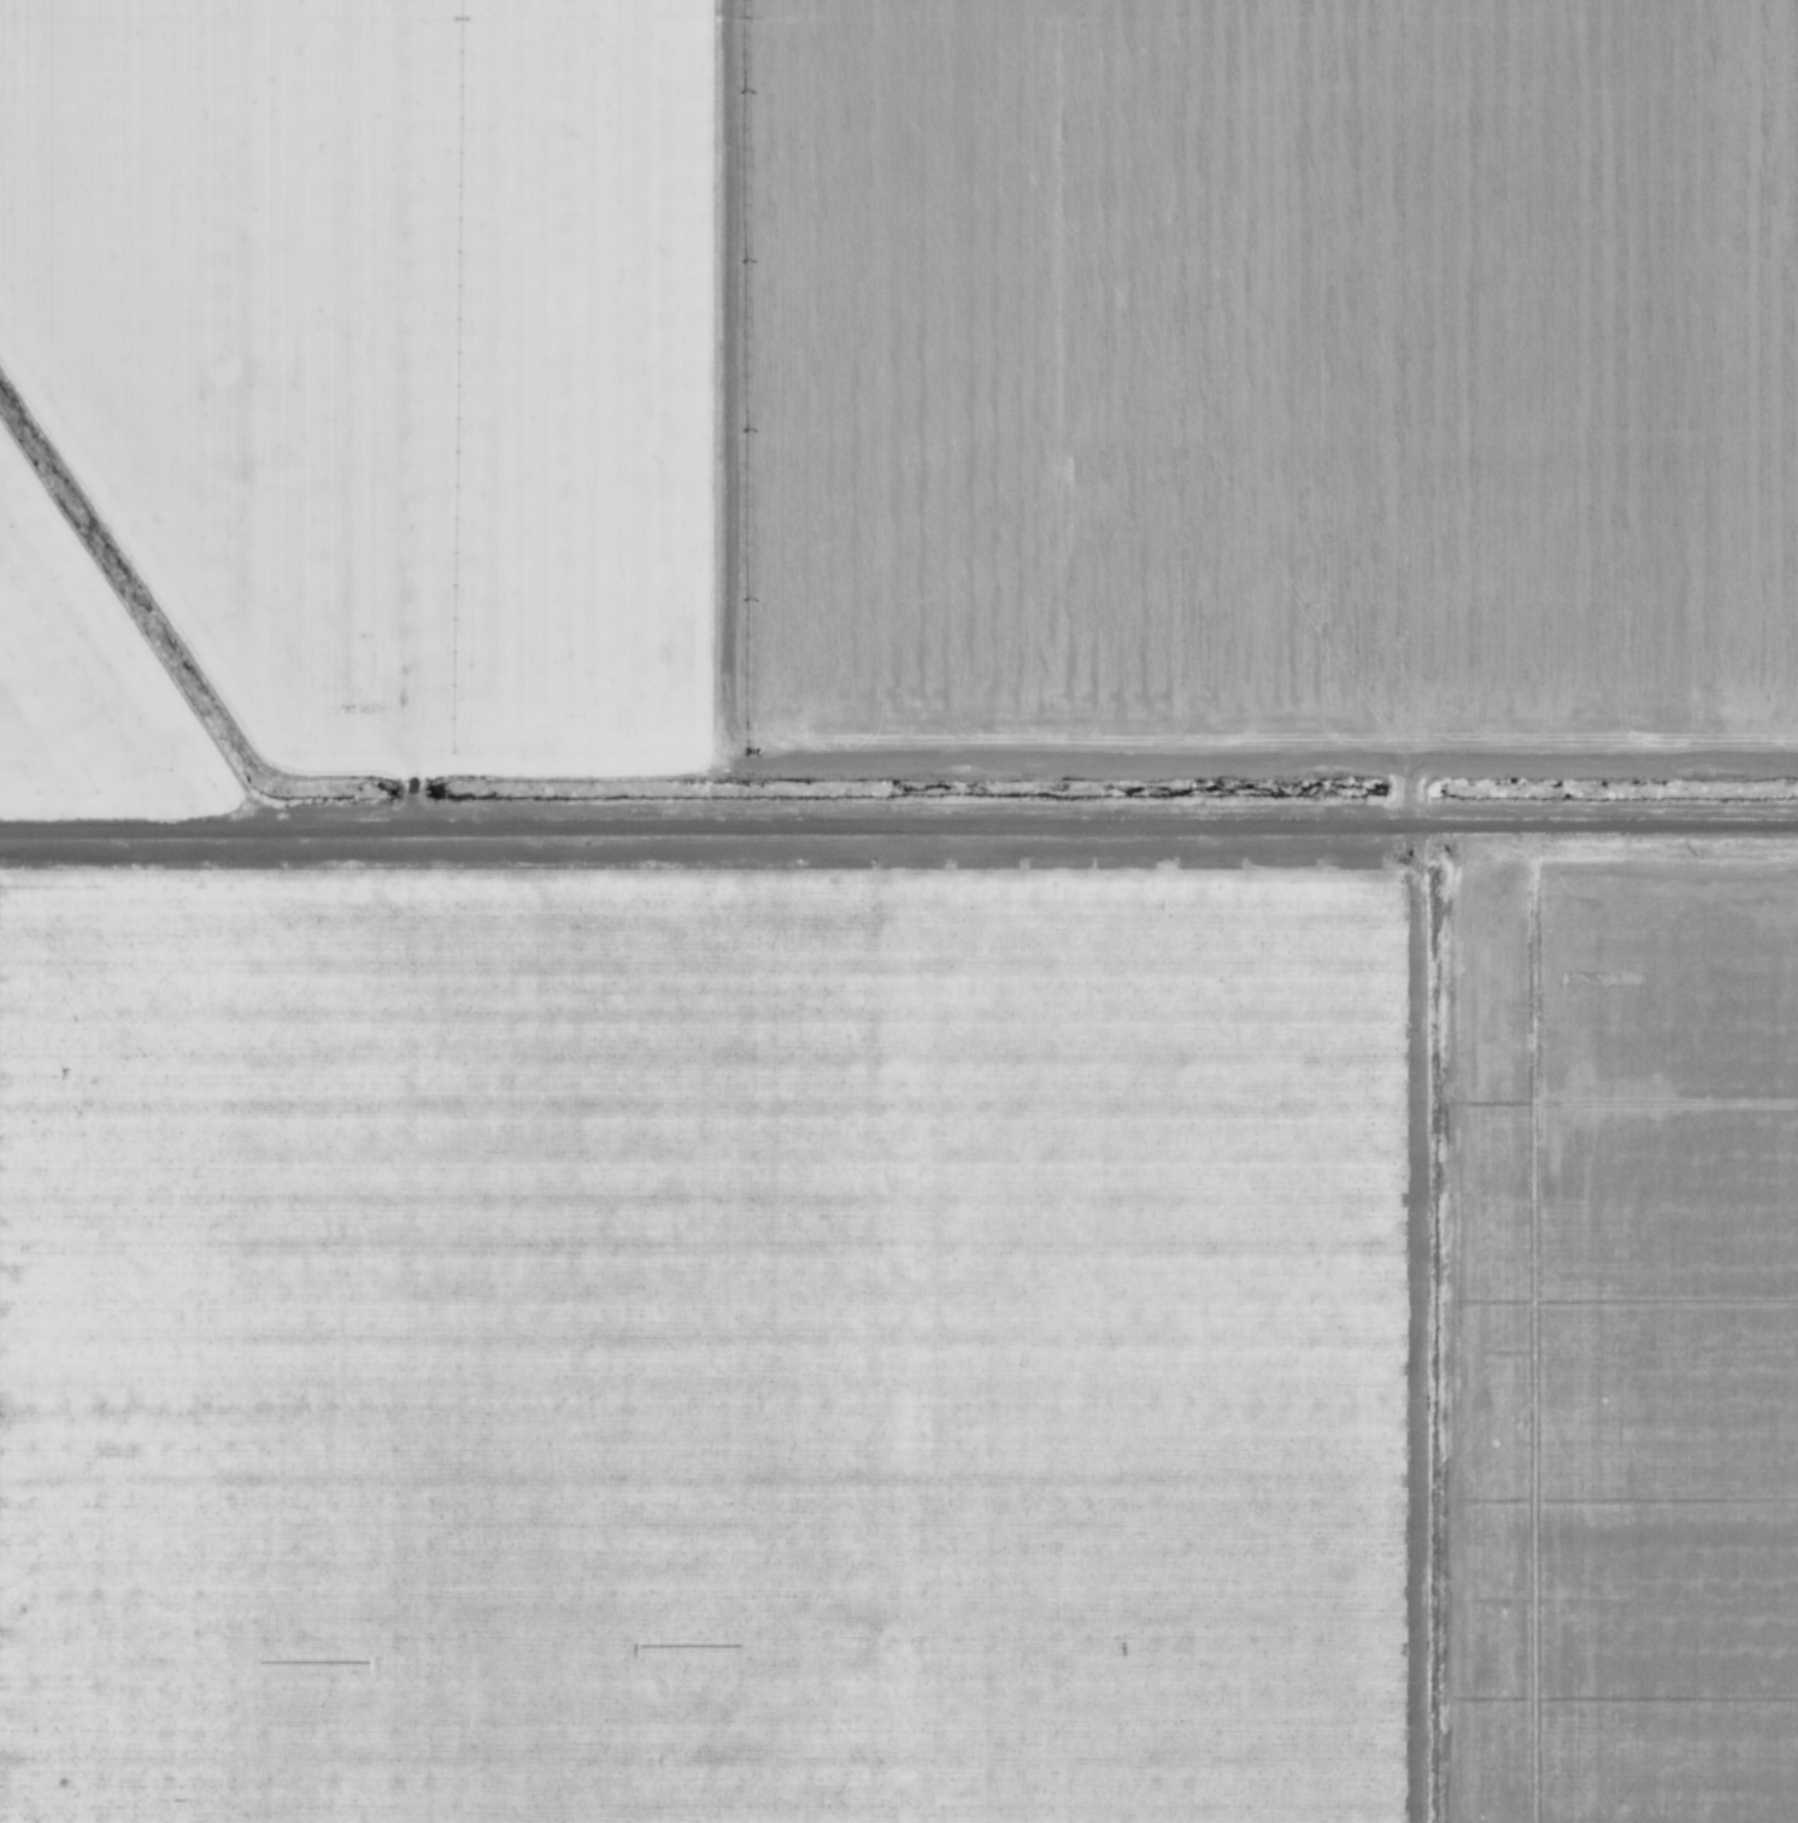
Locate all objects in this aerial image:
crop: (378, 353)
crop: (1756, 374)
crop: (1203, 384)
crop: (80, 684)
road: (407, 798)
road: (898, 824)
crop: (888, 1330)
crop: (166, 1333)
crop: (1622, 1340)

